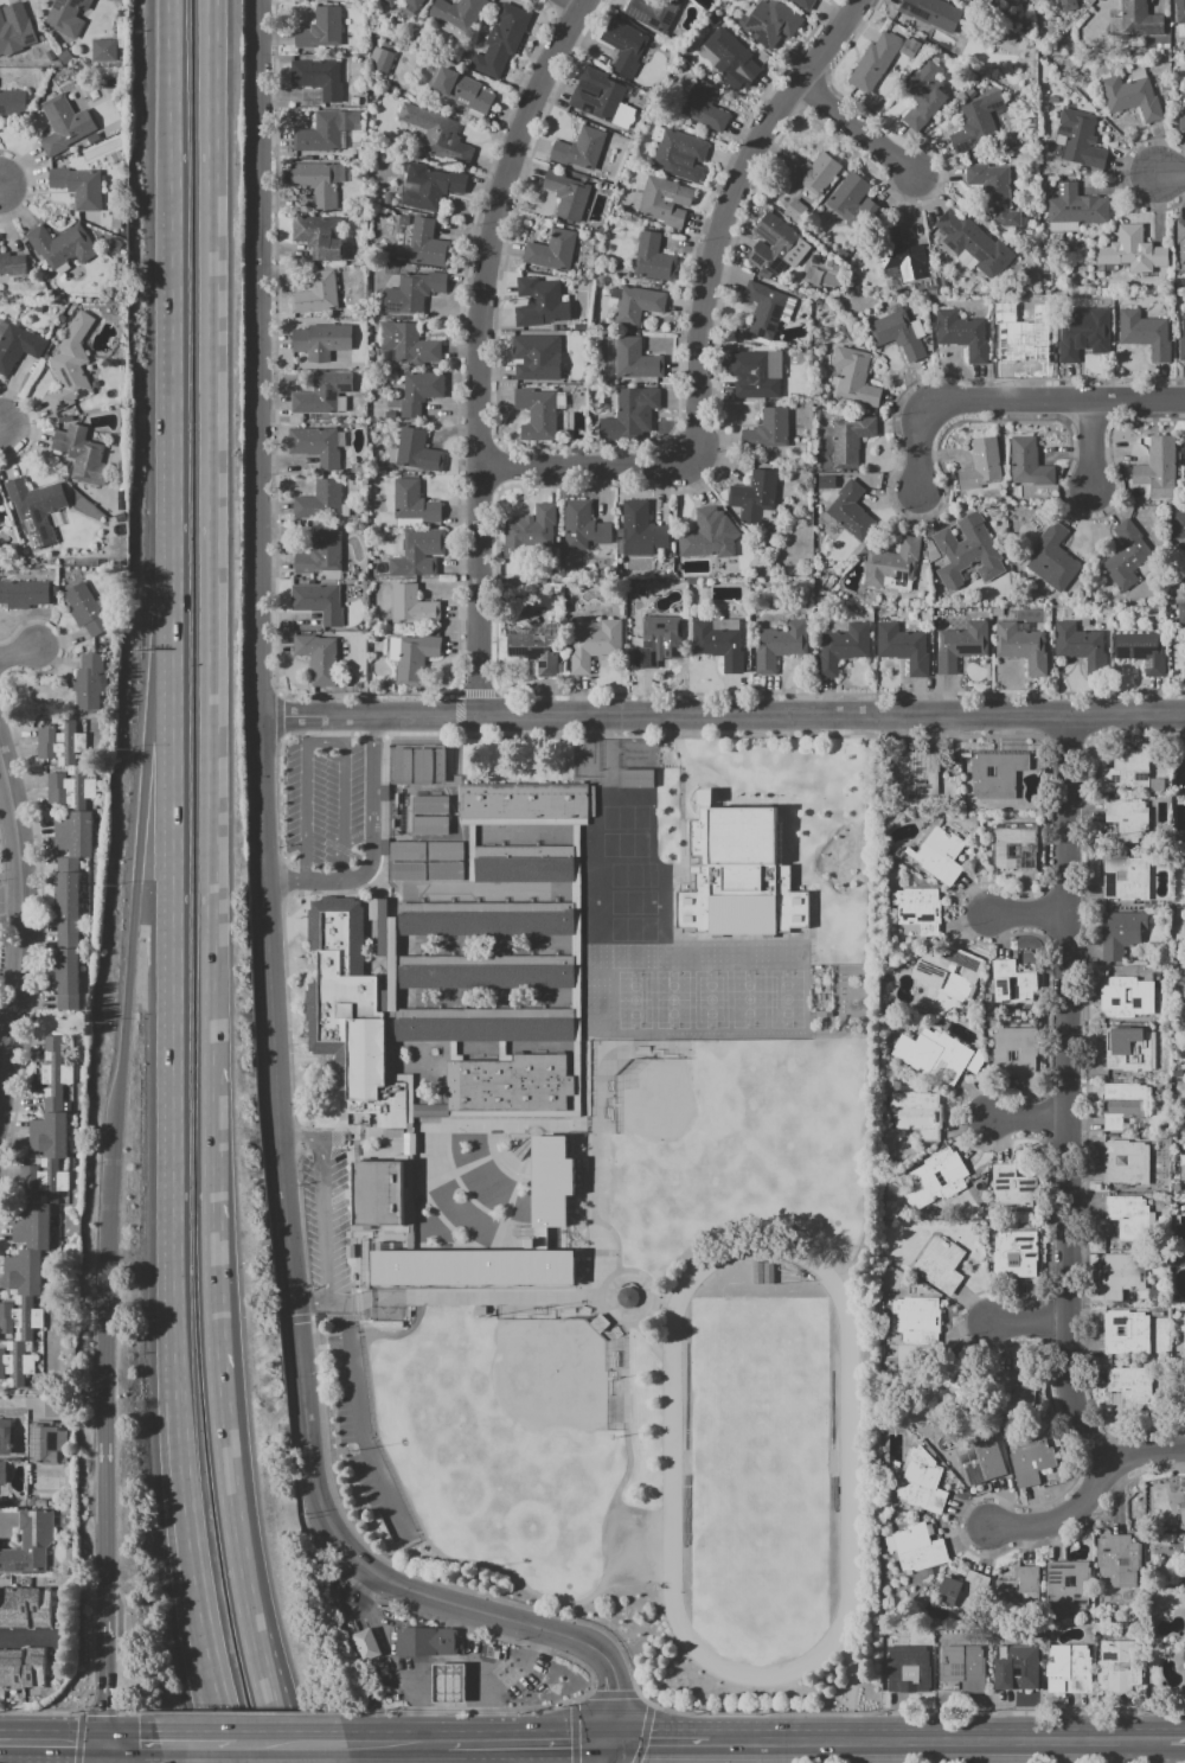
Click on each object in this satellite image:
building: (391, 1)
building: (414, 2)
road: (577, 2)
building: (801, 4)
building: (1066, 5)
building: (1179, 11)
building: (456, 12)
building: (653, 12)
building: (933, 14)
building: (66, 17)
building: (1138, 19)
building: (768, 21)
building: (321, 30)
building: (15, 36)
building: (502, 41)
building: (624, 45)
building: (912, 49)
building: (104, 50)
building: (731, 56)
building: (382, 60)
building: (873, 63)
building: (319, 77)
road: (175, 89)
building: (462, 90)
building: (597, 94)
building: (923, 97)
building: (1129, 97)
building: (13, 103)
building: (703, 106)
building: (1181, 119)
building: (975, 123)
building: (64, 124)
road: (856, 132)
building: (320, 134)
building: (436, 135)
building: (1080, 140)
building: (579, 148)
building: (679, 155)
building: (809, 173)
road: (1171, 174)
building: (315, 183)
building: (78, 186)
road: (2, 189)
building: (435, 189)
building: (993, 193)
building: (566, 194)
building: (852, 200)
building: (662, 202)
building: (1075, 210)
road: (723, 211)
building: (795, 211)
building: (316, 236)
building: (965, 236)
building: (1180, 239)
building: (425, 244)
building: (62, 245)
building: (770, 245)
building: (551, 250)
building: (1129, 253)
building: (897, 255)
building: (652, 257)
building: (12, 263)
building: (931, 279)
building: (931, 290)
building: (316, 293)
building: (415, 293)
building: (539, 302)
building: (636, 306)
building: (763, 309)
building: (1081, 332)
building: (896, 334)
building: (961, 334)
building: (1145, 334)
building: (1025, 338)
building: (322, 340)
building: (1181, 343)
building: (17, 345)
building: (406, 345)
road: (479, 347)
building: (533, 354)
building: (634, 359)
building: (71, 364)
building: (754, 373)
building: (853, 378)
building: (421, 391)
building: (316, 395)
road: (1016, 400)
building: (626, 411)
building: (537, 414)
building: (768, 429)
road: (4, 430)
building: (850, 441)
road: (1091, 441)
building: (316, 445)
road: (175, 448)
building: (1184, 448)
building: (417, 451)
building: (82, 453)
building: (1155, 462)
building: (1027, 464)
building: (981, 465)
road: (582, 466)
building: (826, 483)
building: (754, 496)
building: (1, 498)
building: (36, 498)
building: (321, 500)
building: (414, 504)
building: (850, 509)
building: (0, 522)
building: (583, 525)
building: (640, 526)
building: (1179, 526)
building: (532, 529)
building: (702, 534)
building: (417, 551)
building: (963, 552)
building: (321, 554)
building: (1127, 554)
building: (1052, 558)
building: (892, 562)
building: (1183, 582)
road: (210, 592)
building: (24, 594)
building: (319, 601)
building: (412, 605)
building: (88, 609)
building: (1181, 612)
building: (658, 639)
building: (1078, 644)
building: (592, 645)
building: (717, 645)
building: (780, 645)
building: (960, 645)
building: (841, 646)
building: (1021, 646)
building: (902, 647)
building: (536, 649)
building: (1141, 651)
building: (412, 656)
road: (19, 657)
building: (319, 658)
building: (89, 681)
road: (719, 716)
road: (373, 728)
building: (63, 741)
road: (324, 743)
building: (417, 766)
building: (1126, 772)
building: (997, 774)
building: (914, 775)
building: (634, 778)
building: (70, 787)
building: (524, 801)
parking lot: (331, 810)
building: (429, 815)
building: (1127, 817)
building: (75, 833)
road: (369, 833)
building: (1016, 845)
building: (936, 856)
building: (425, 861)
building: (524, 869)
building: (736, 874)
building: (1125, 877)
road: (287, 879)
road: (8, 896)
building: (917, 909)
building: (68, 911)
road: (1030, 912)
road: (15, 915)
road: (133, 916)
building: (486, 918)
building: (1120, 933)
road: (1, 945)
road: (273, 964)
building: (486, 972)
building: (954, 975)
building: (68, 978)
building: (1012, 983)
building: (1126, 997)
park: (671, 998)
park: (747, 998)
park: (786, 998)
park: (633, 999)
park: (710, 999)
building: (348, 1009)
building: (483, 1024)
road: (4, 1041)
building: (1130, 1049)
building: (1016, 1050)
building: (933, 1055)
road: (174, 1059)
building: (55, 1073)
building: (512, 1084)
road: (1069, 1097)
building: (1122, 1104)
building: (916, 1113)
road: (1029, 1114)
park: (692, 1124)
building: (49, 1135)
road: (302, 1141)
building: (1126, 1163)
building: (936, 1178)
building: (43, 1180)
building: (549, 1180)
building: (1012, 1188)
building: (373, 1197)
building: (891, 1209)
building: (1129, 1216)
road: (325, 1221)
building: (31, 1226)
building: (1014, 1254)
building: (937, 1260)
building: (472, 1266)
building: (763, 1272)
building: (24, 1273)
building: (1122, 1273)
building: (627, 1297)
road: (489, 1301)
road: (310, 1302)
road: (351, 1302)
road: (607, 1303)
building: (20, 1317)
building: (915, 1320)
road: (1026, 1321)
building: (1184, 1331)
building: (1126, 1333)
building: (17, 1362)
road: (108, 1374)
building: (946, 1385)
building: (1130, 1388)
park: (539, 1393)
building: (1006, 1395)
road: (214, 1410)
road: (360, 1423)
building: (6, 1442)
building: (49, 1443)
track: (758, 1459)
track: (671, 1461)
building: (980, 1461)
building: (1031, 1461)
building: (2, 1471)
building: (921, 1483)
road: (1089, 1494)
road: (186, 1496)
building: (1183, 1515)
building: (28, 1542)
building: (918, 1547)
building: (1117, 1561)
road: (507, 1576)
building: (1066, 1585)
building: (1018, 1590)
building: (963, 1592)
road: (335, 1605)
building: (25, 1606)
road: (585, 1623)
road: (27, 1640)
building: (425, 1642)
building: (365, 1646)
building: (1184, 1650)
road: (575, 1661)
building: (1184, 1663)
building: (965, 1667)
building: (1017, 1667)
building: (1070, 1667)
building: (1117, 1667)
building: (907, 1668)
building: (21, 1669)
road: (213, 1676)
road: (105, 1680)
road: (418, 1681)
building: (444, 1686)
gas station: (444, 1686)
road: (256, 1687)
road: (851, 1689)
road: (588, 1694)
road: (614, 1694)
road: (643, 1699)
road: (572, 1700)
road: (489, 1708)
road: (82, 1710)
road: (398, 1710)
road: (51, 1711)
road: (97, 1711)
road: (132, 1712)
road: (244, 1713)
road: (572, 1733)
road: (642, 1733)
road: (78, 1736)
road: (937, 1737)
road: (1176, 1737)
road: (17, 1738)
road: (68, 1738)
road: (472, 1738)
road: (555, 1738)
traffic signals: (608, 1738)
road: (658, 1738)
traffic signals: (102, 1739)
road: (129, 1739)
road: (197, 1739)
road: (289, 1739)
road: (393, 1739)
road: (287, 1749)
road: (33, 1750)
road: (512, 1750)
road: (606, 1750)
road: (104, 1751)
road: (269, 1751)

